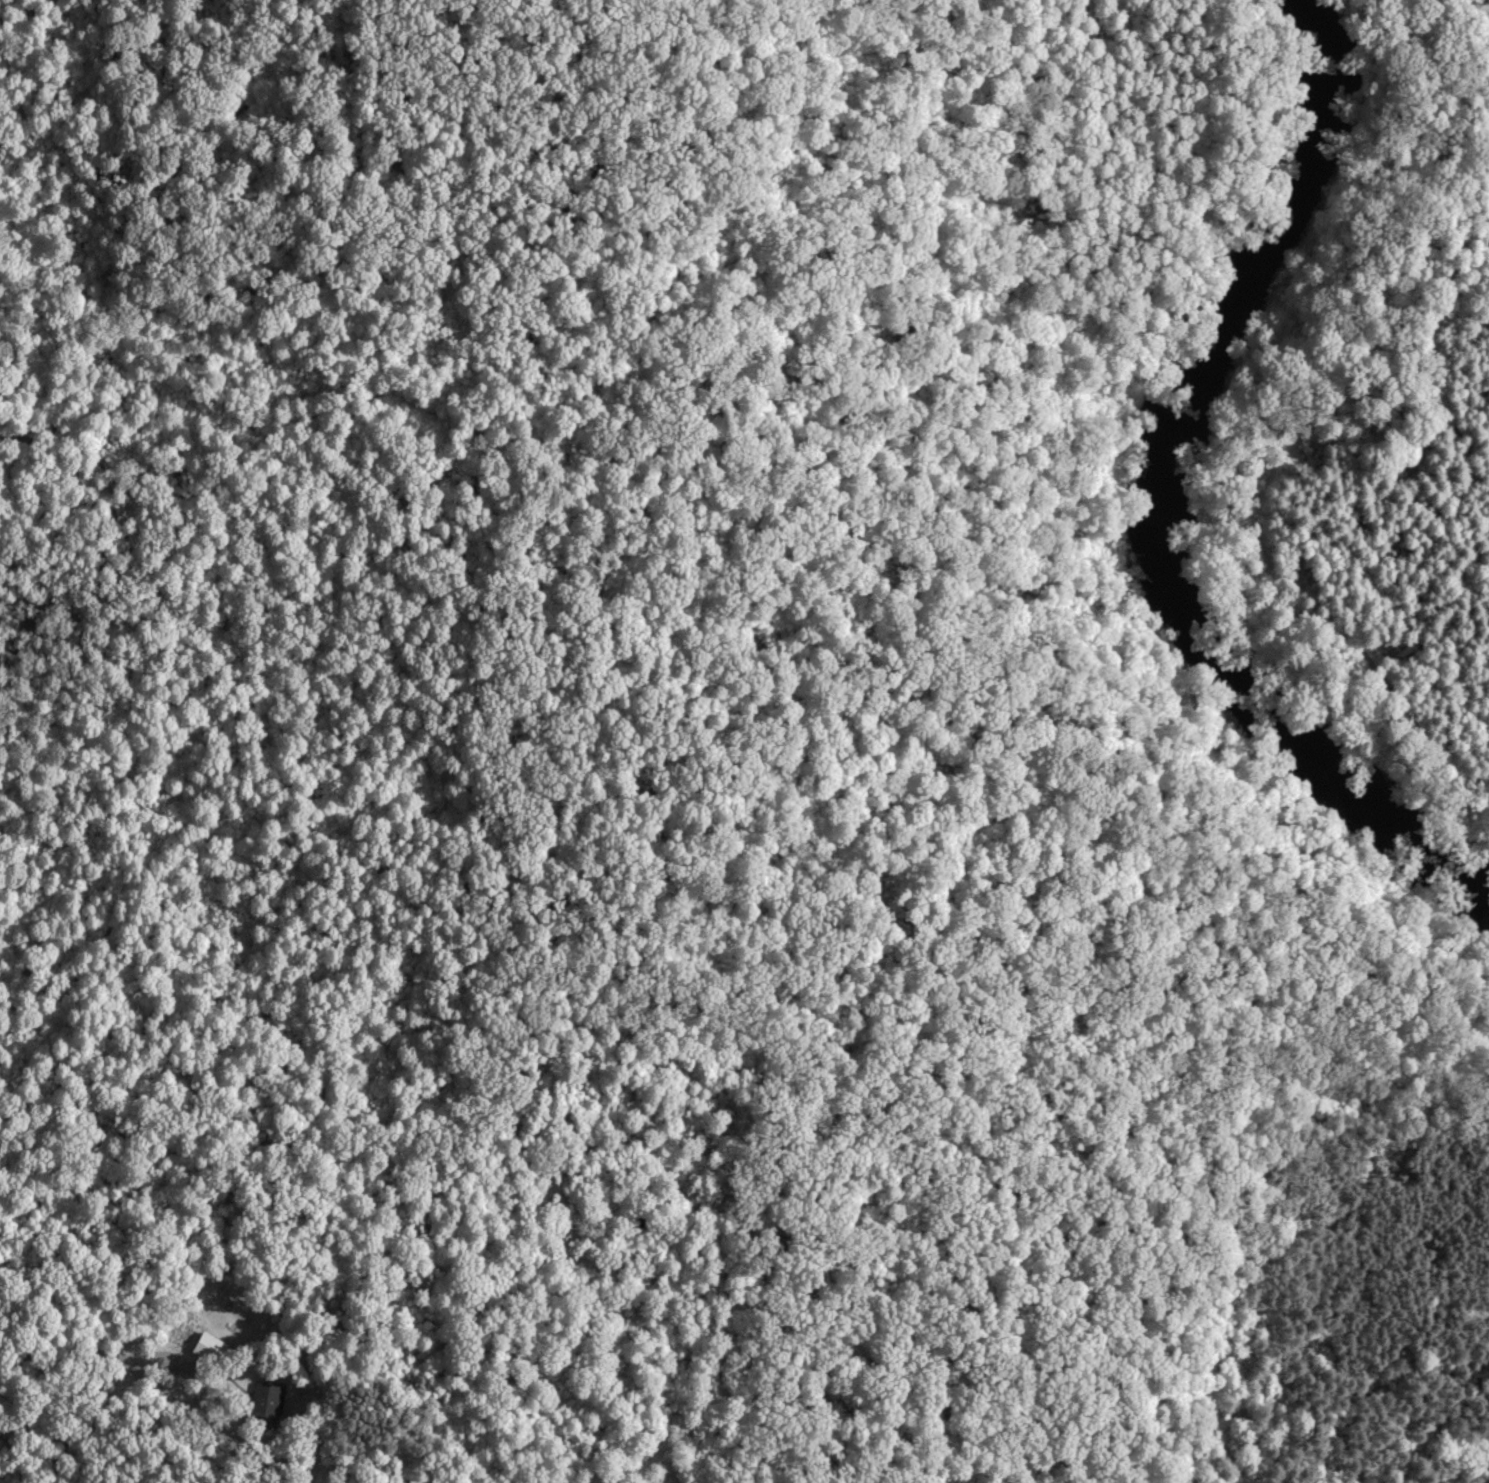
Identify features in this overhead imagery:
river: (1154, 497)
building: (208, 1350)
road: (58, 1359)
road: (198, 1391)

